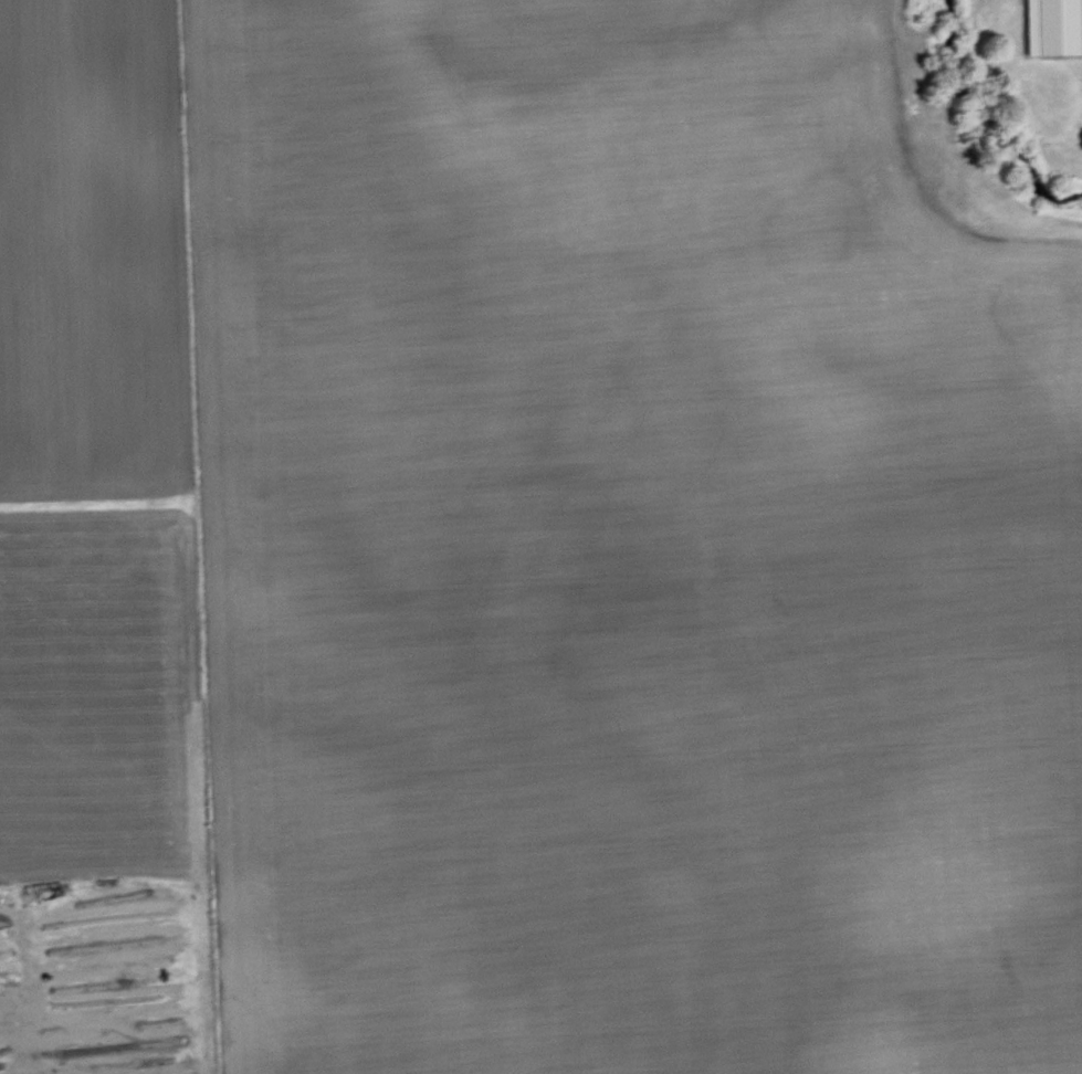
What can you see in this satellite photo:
building: (1052, 25)

